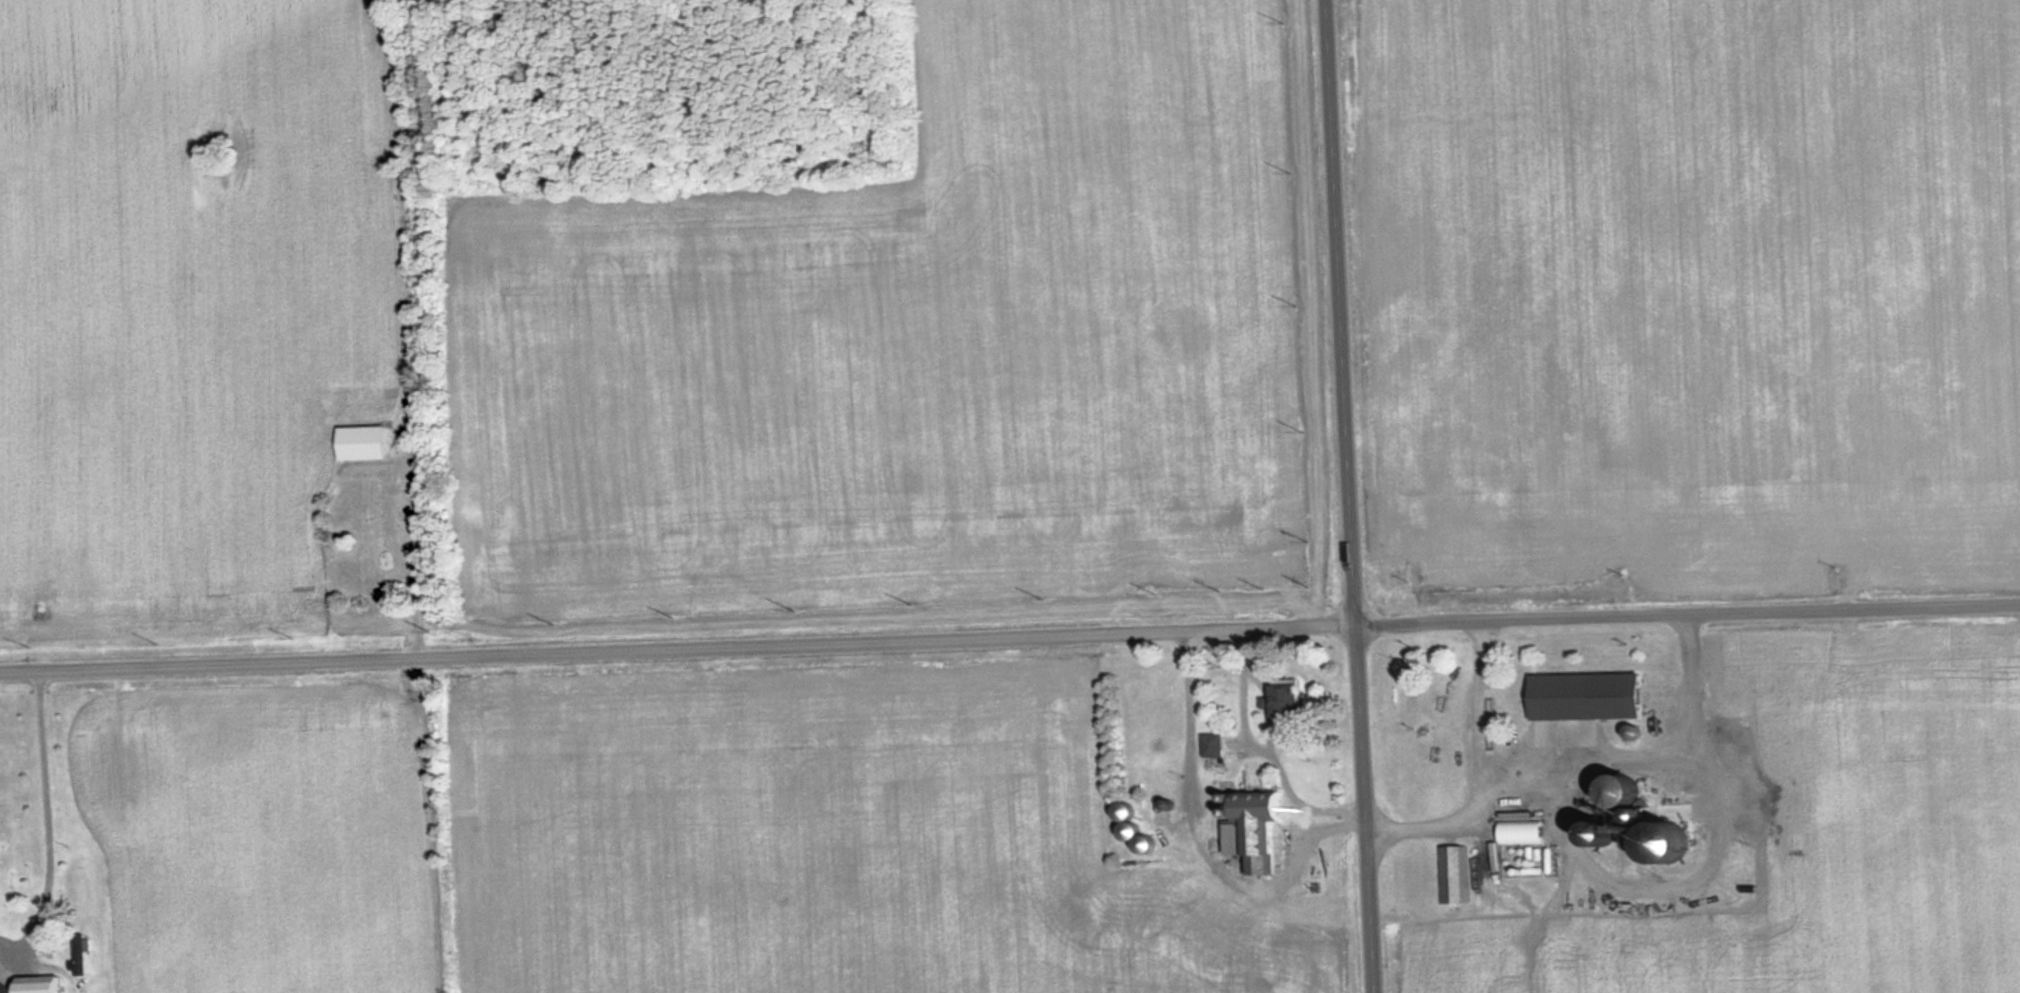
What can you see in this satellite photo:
building: (362, 442)
road: (1350, 496)
road: (1009, 634)
building: (1587, 697)
building: (1287, 701)
building: (1213, 744)
building: (1624, 791)
building: (1126, 821)
building: (1253, 830)
building: (1521, 831)
building: (1142, 845)
building: (1452, 874)
building: (82, 954)
building: (39, 984)

